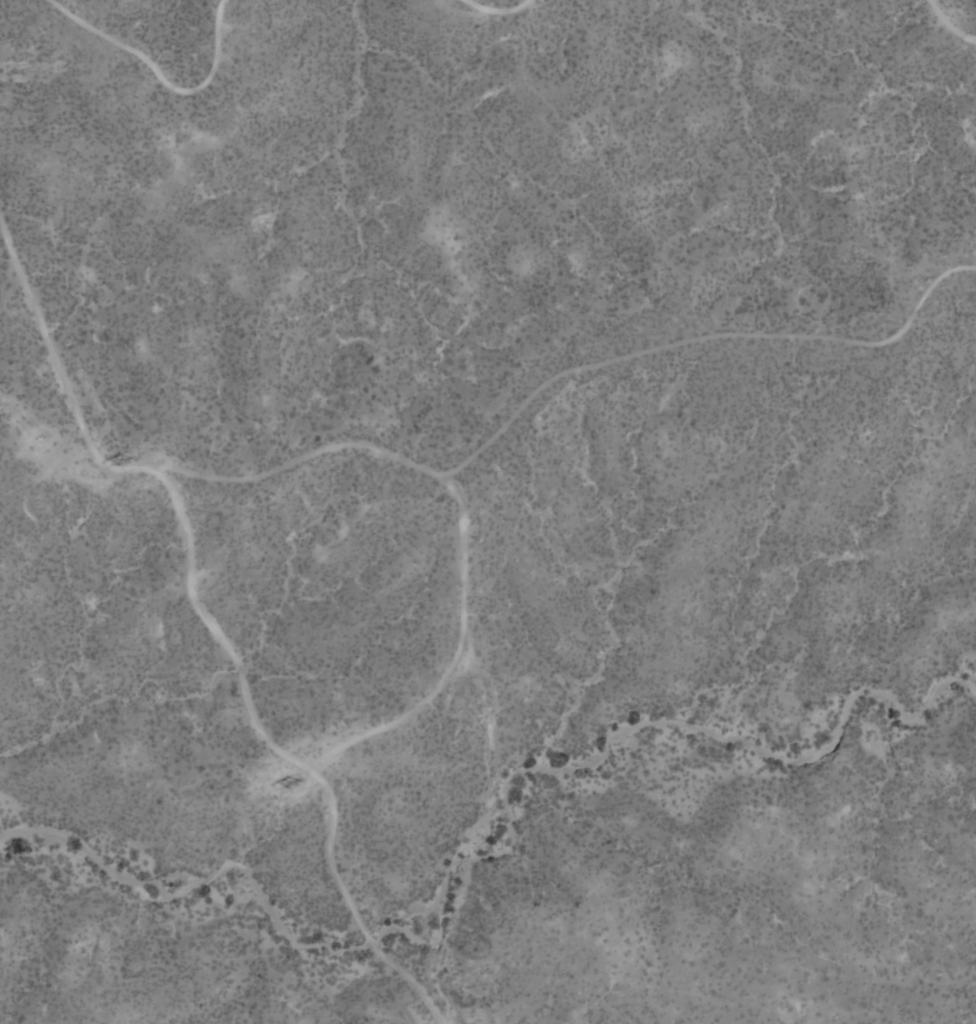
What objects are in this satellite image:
road: (495, 7)
road: (953, 22)
road: (162, 77)
power tower: (126, 460)
road: (209, 621)
power tower: (295, 782)

